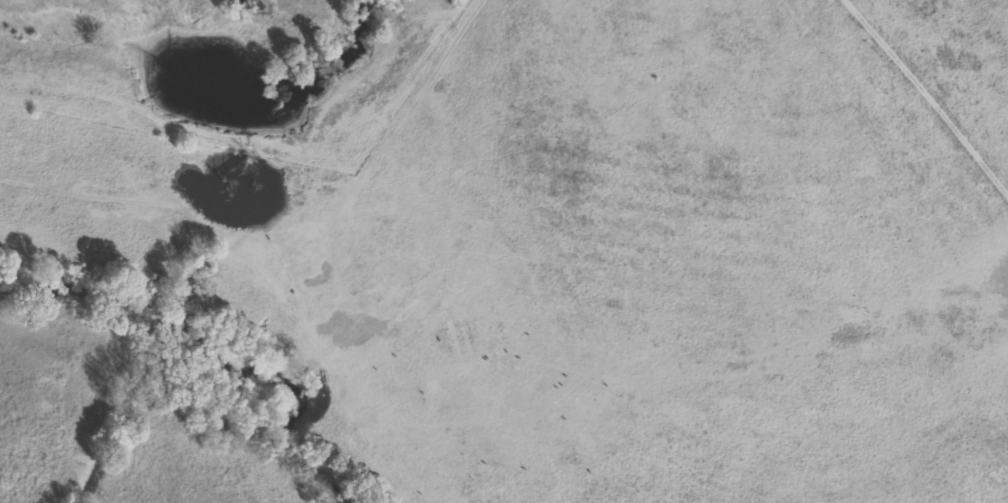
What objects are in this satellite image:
road: (924, 108)

